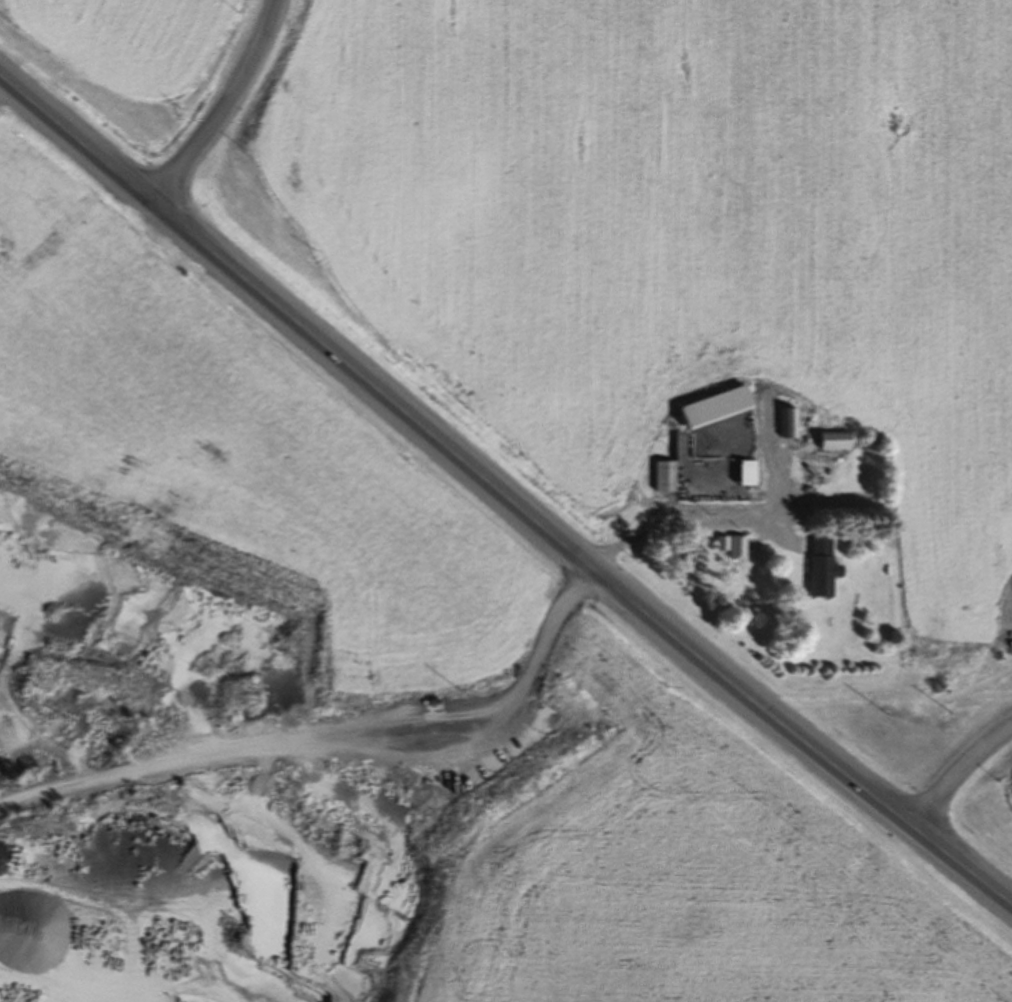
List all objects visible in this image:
road: (213, 103)
building: (786, 426)
building: (829, 445)
building: (719, 457)
road: (502, 495)
road: (688, 528)
building: (730, 550)
building: (819, 571)
building: (432, 707)
road: (336, 719)
road: (959, 776)
quarry: (234, 829)

